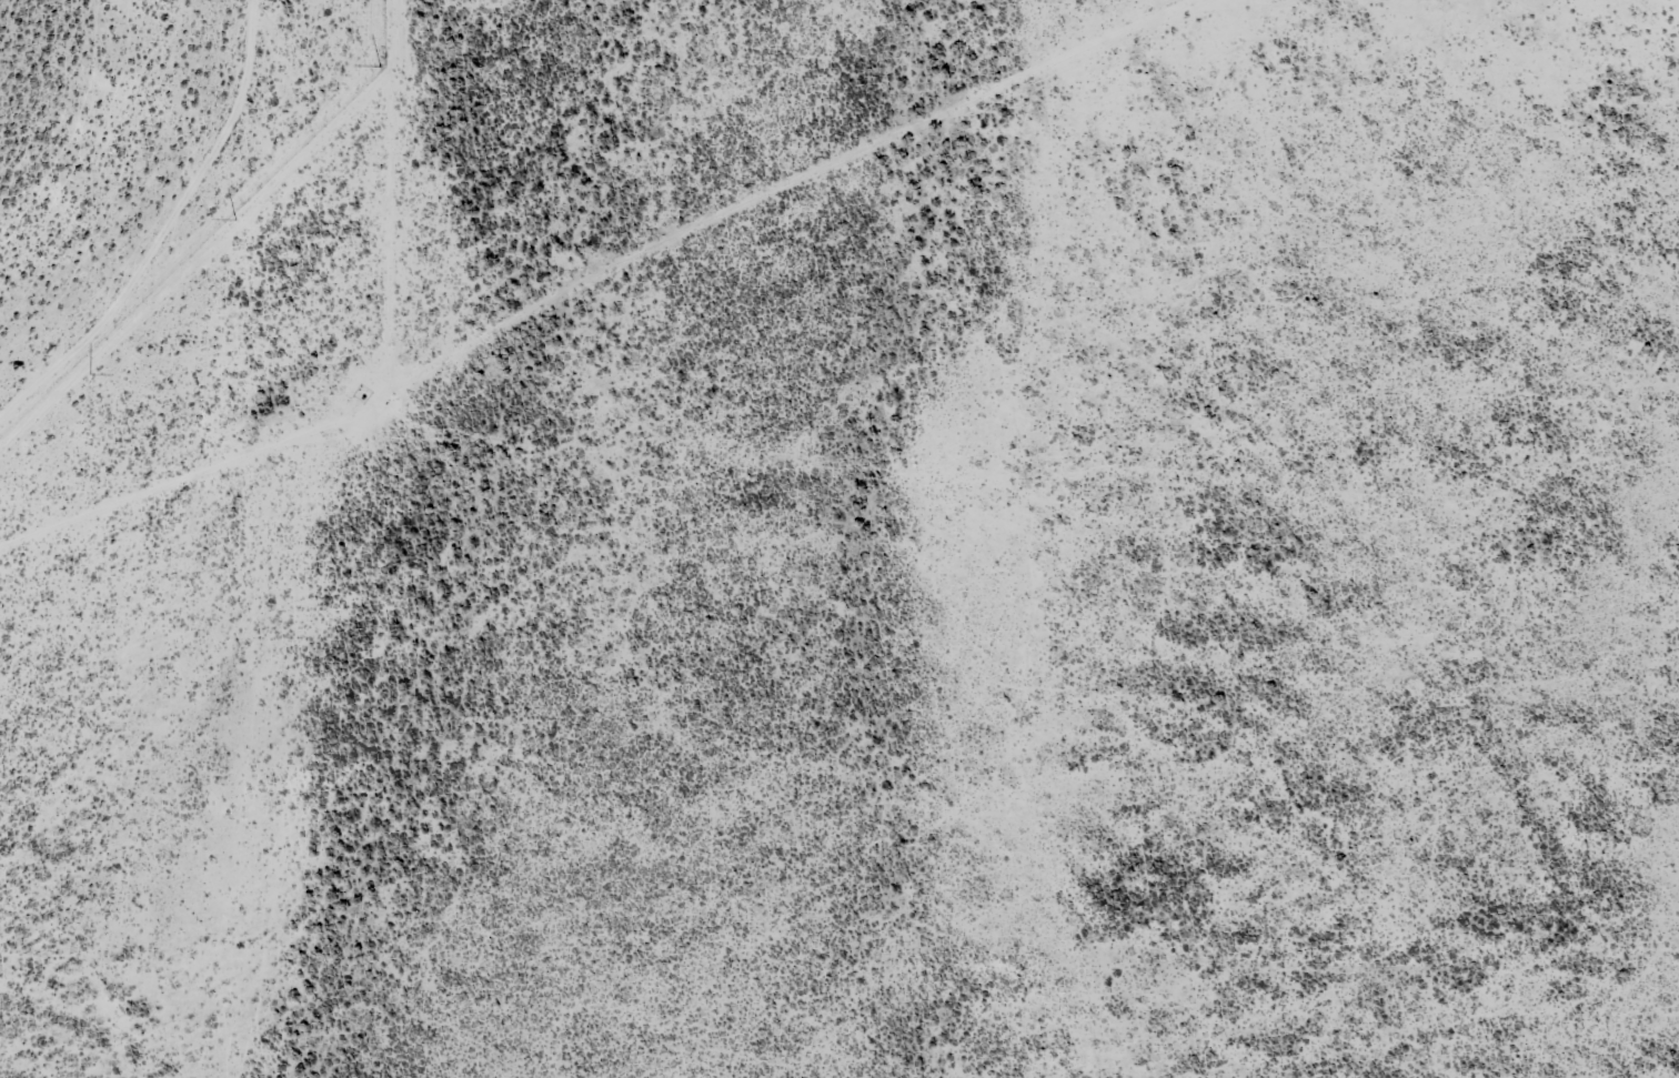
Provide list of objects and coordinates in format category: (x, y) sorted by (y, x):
power tower: (382, 64)
power tower: (234, 221)
power tower: (92, 372)

